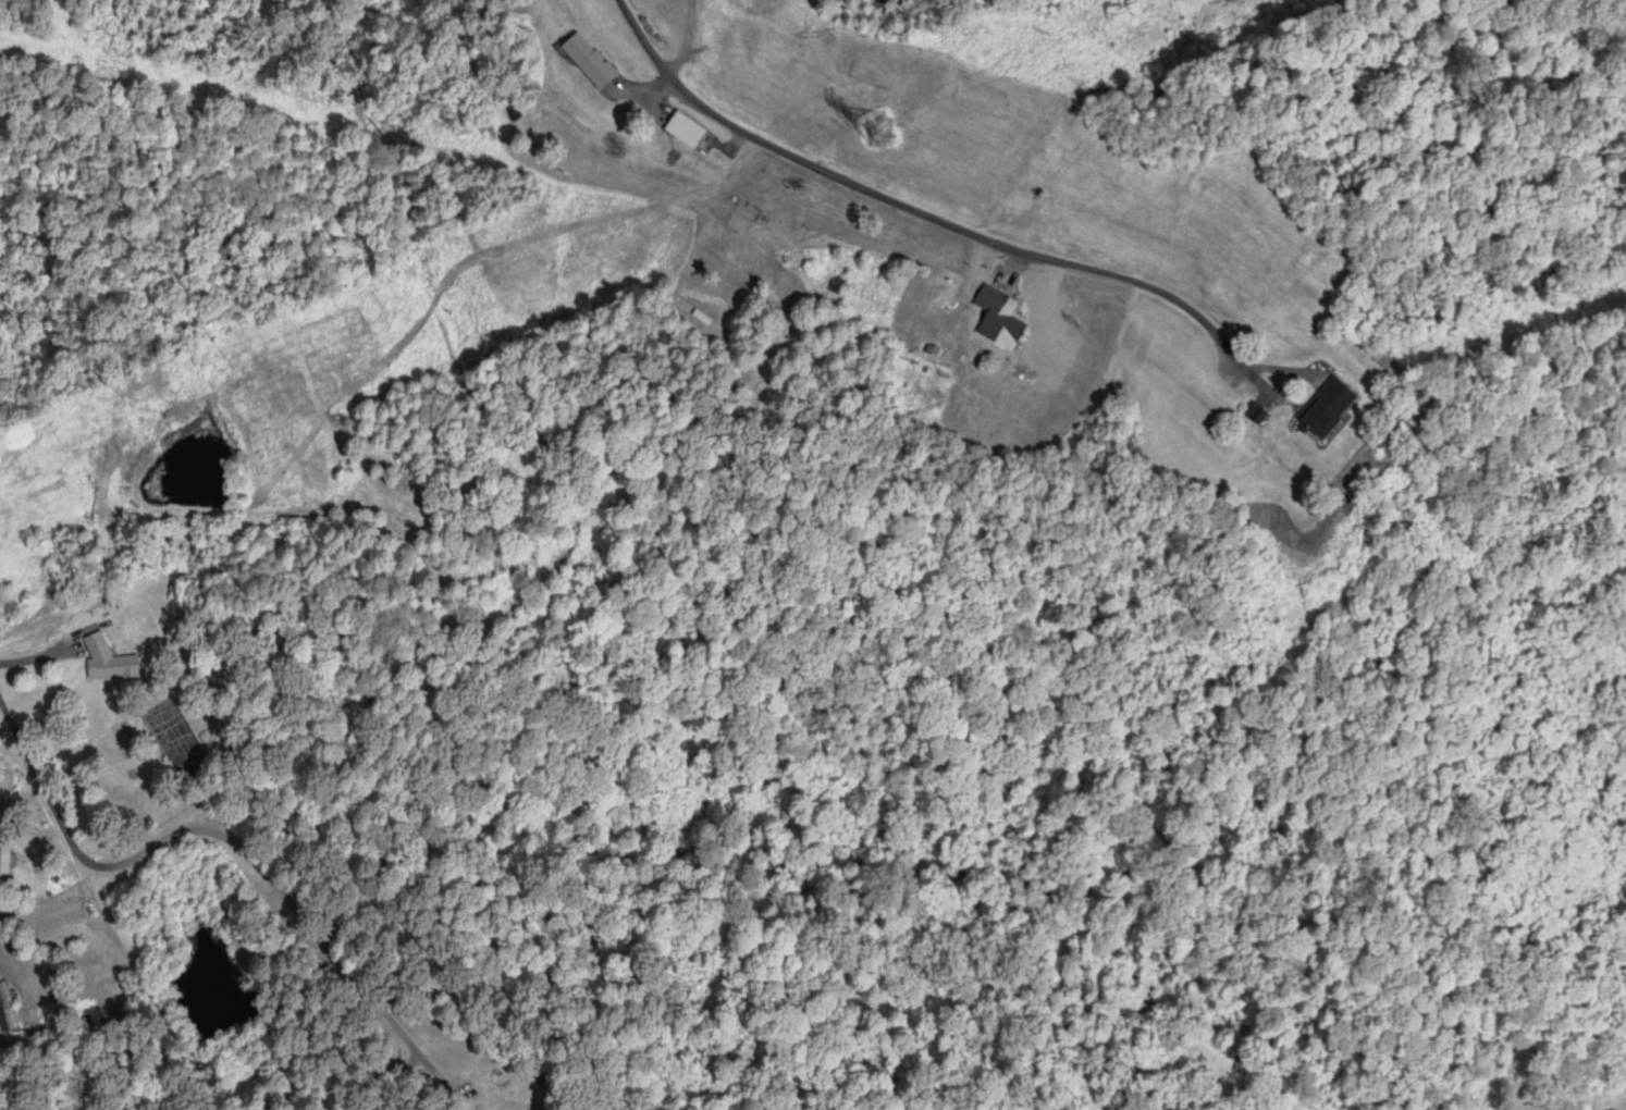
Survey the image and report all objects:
road: (623, 10)
building: (586, 61)
power tower: (879, 128)
building: (683, 132)
road: (916, 213)
building: (997, 320)
building: (1319, 410)
building: (1253, 416)
road: (37, 656)
building: (108, 661)
road: (231, 839)
building: (4, 867)
building: (8, 1007)

